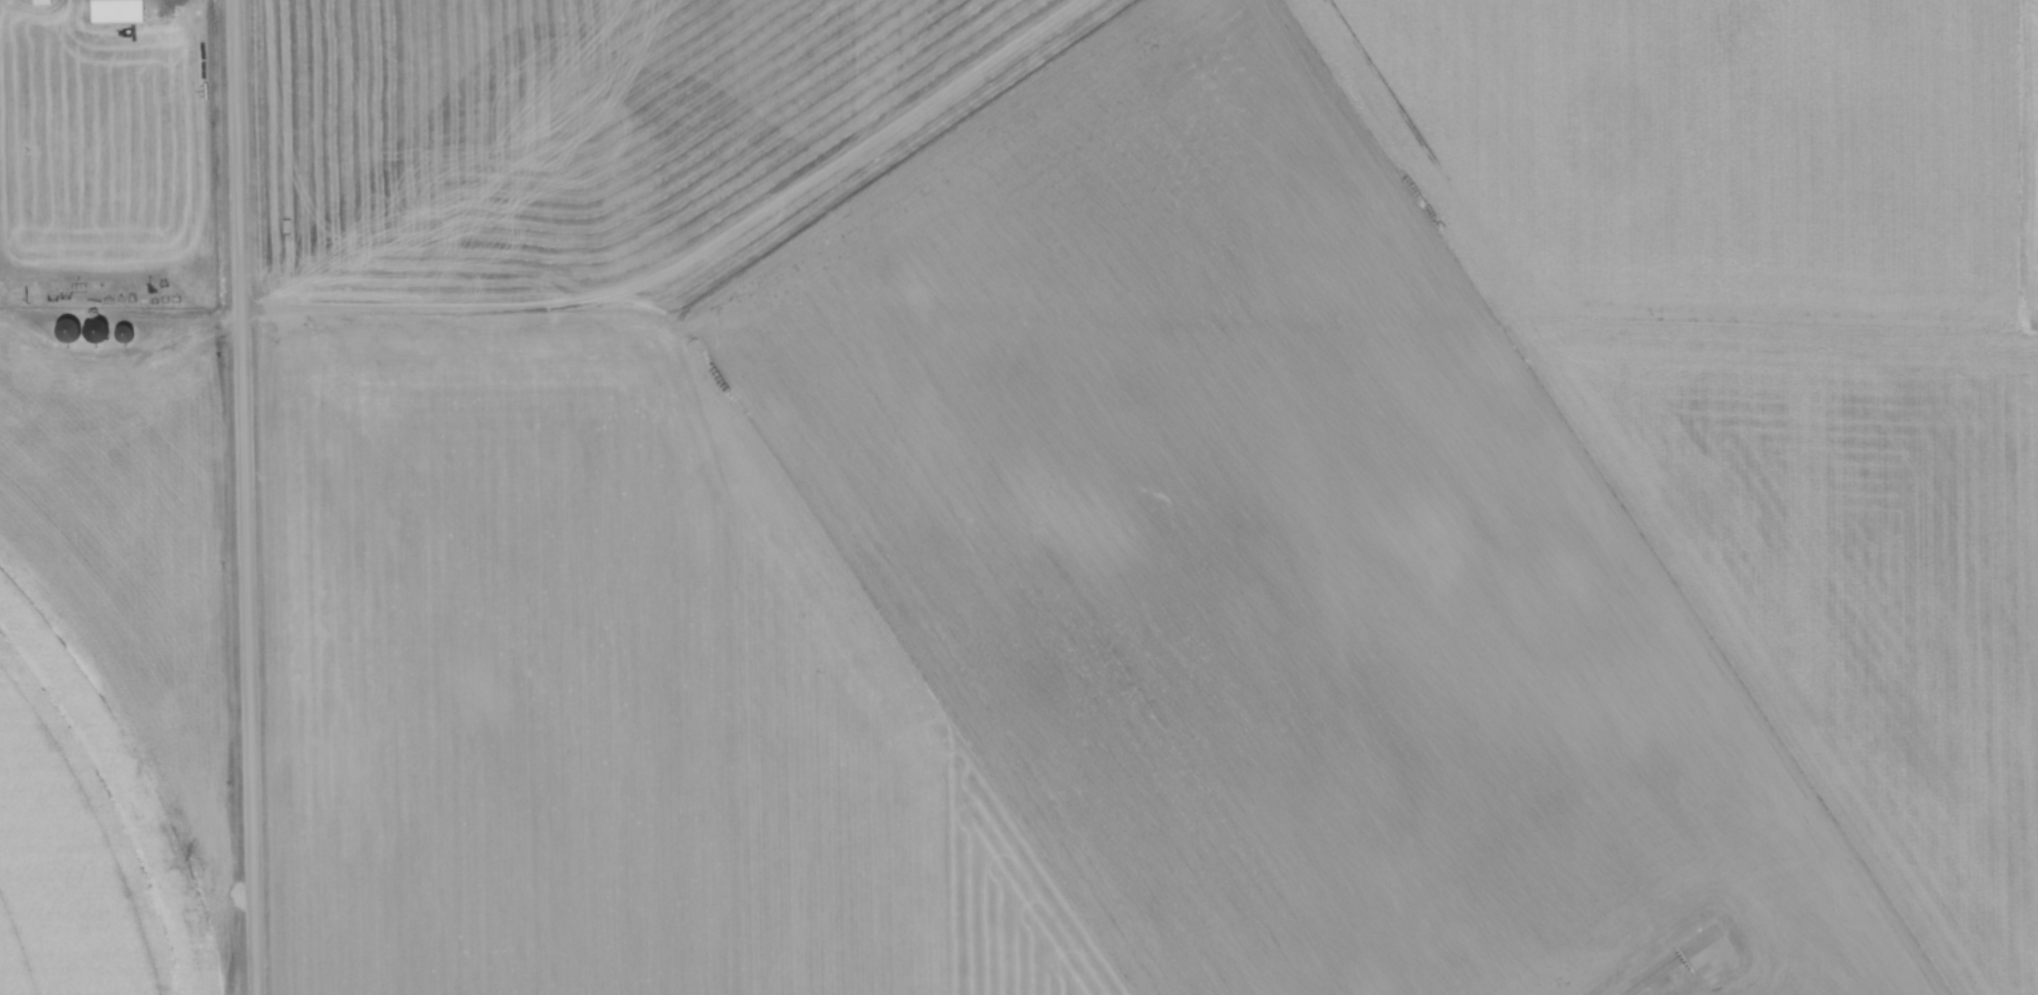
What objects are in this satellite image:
building: (43, 2)
building: (69, 331)
building: (100, 331)
road: (245, 497)
airport: (1271, 557)
airport taxiway: (1673, 960)

